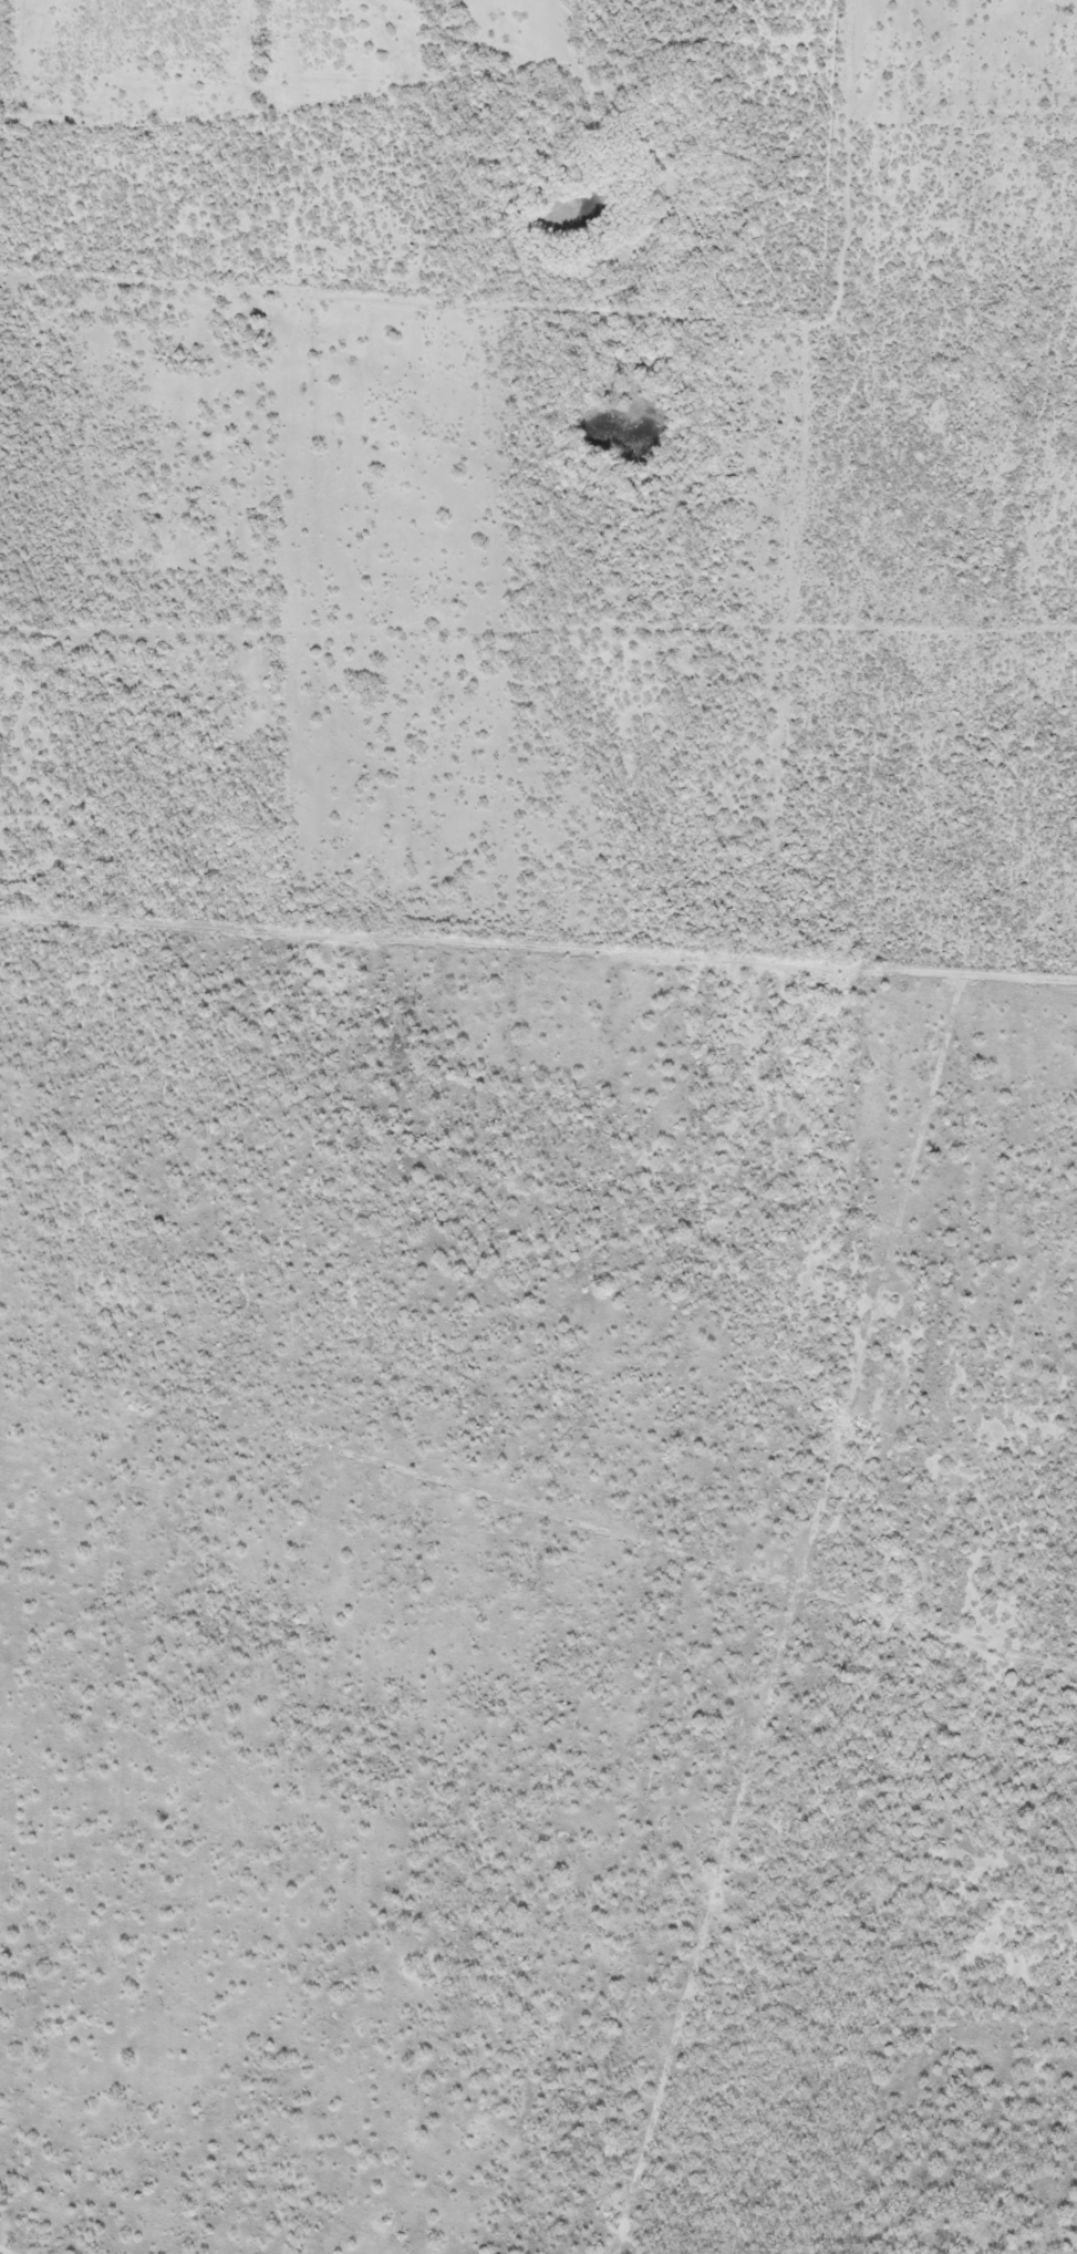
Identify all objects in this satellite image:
road: (8, 2248)

